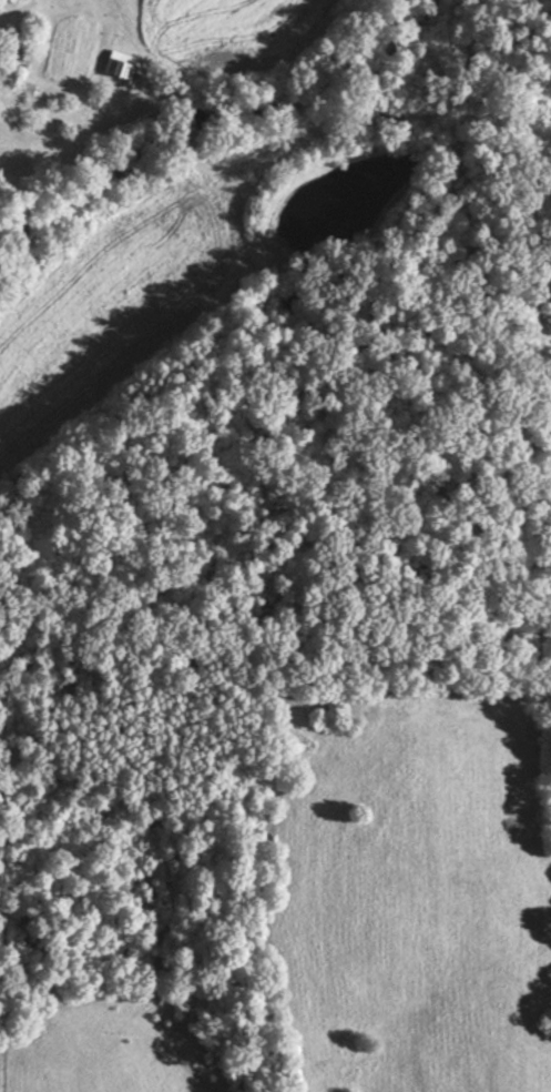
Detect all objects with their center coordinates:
building: (118, 64)

